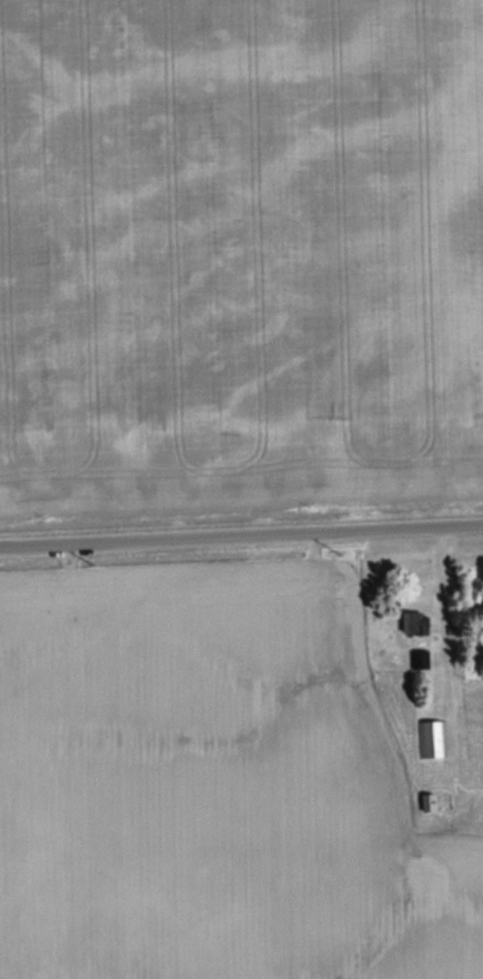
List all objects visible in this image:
crop: (239, 263)
road: (241, 535)
building: (414, 625)
building: (435, 740)
building: (442, 802)

